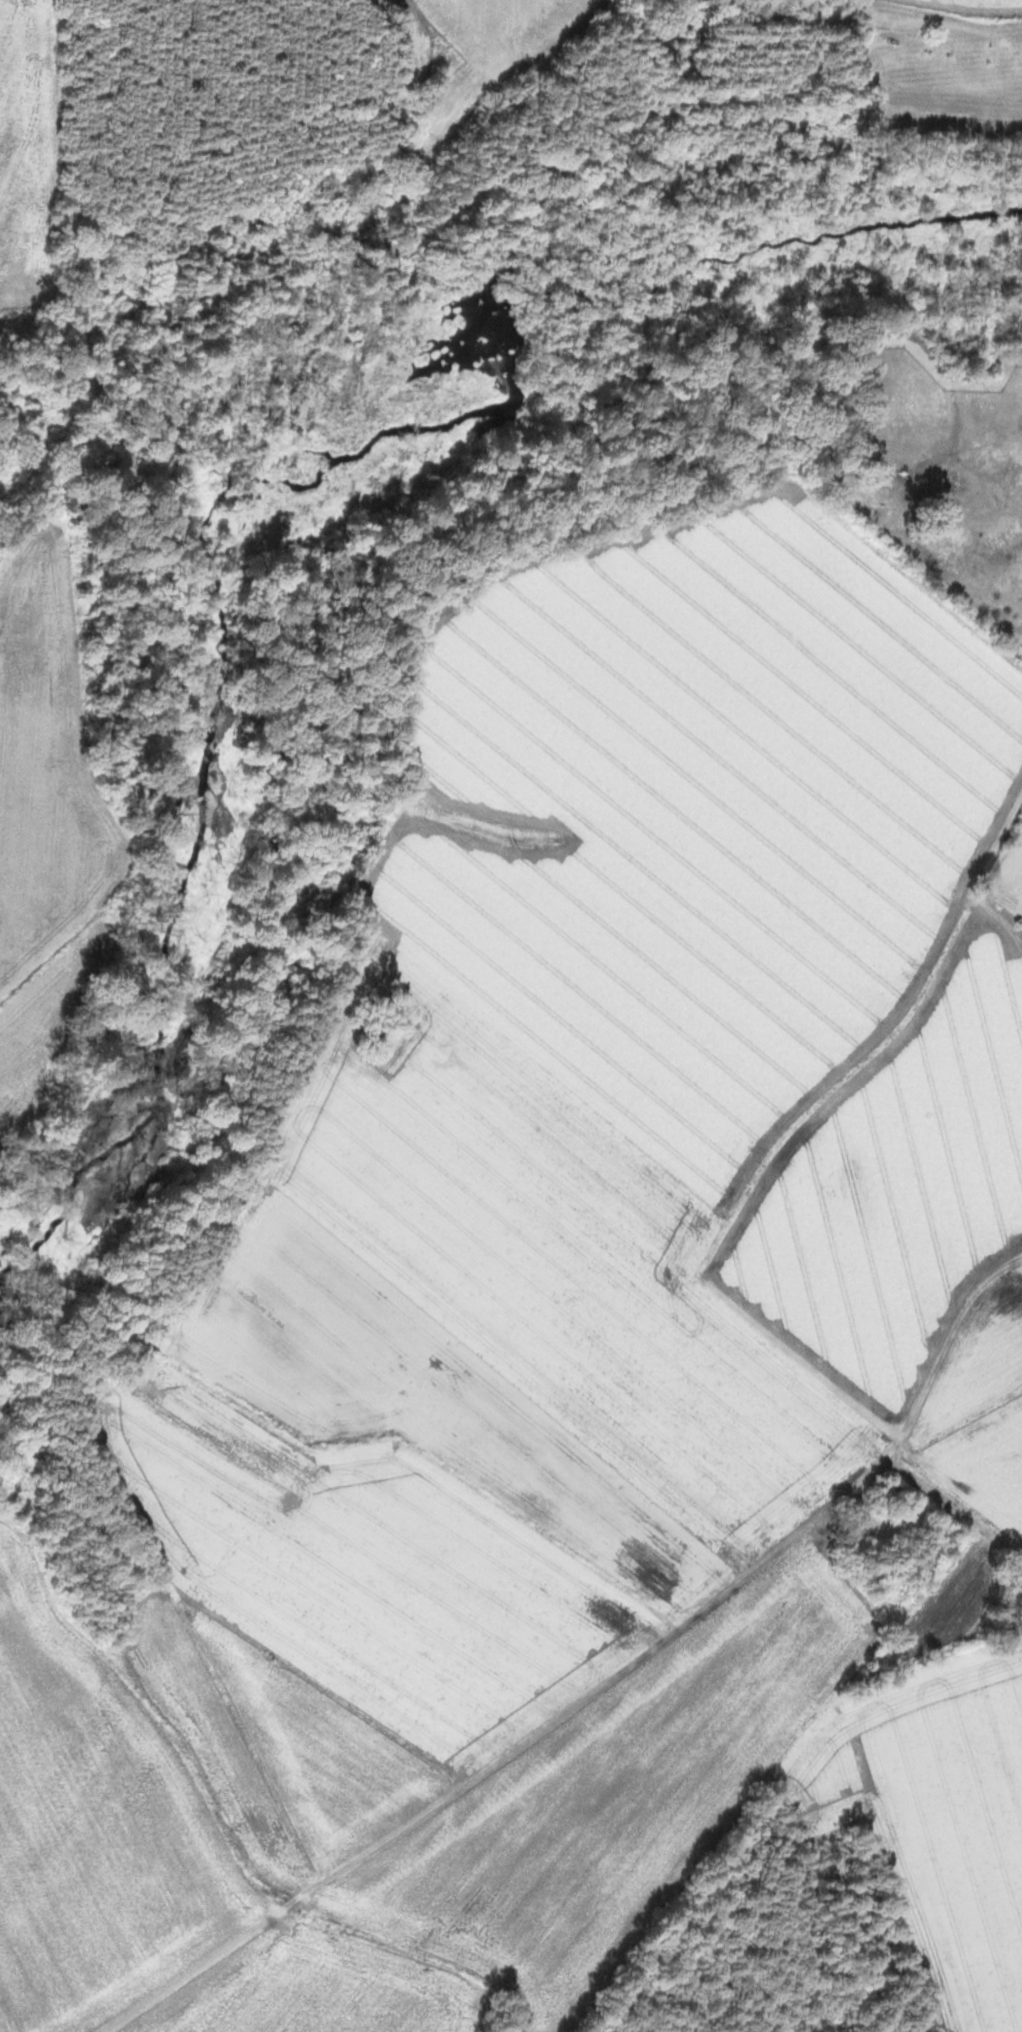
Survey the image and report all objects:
road: (954, 1337)

